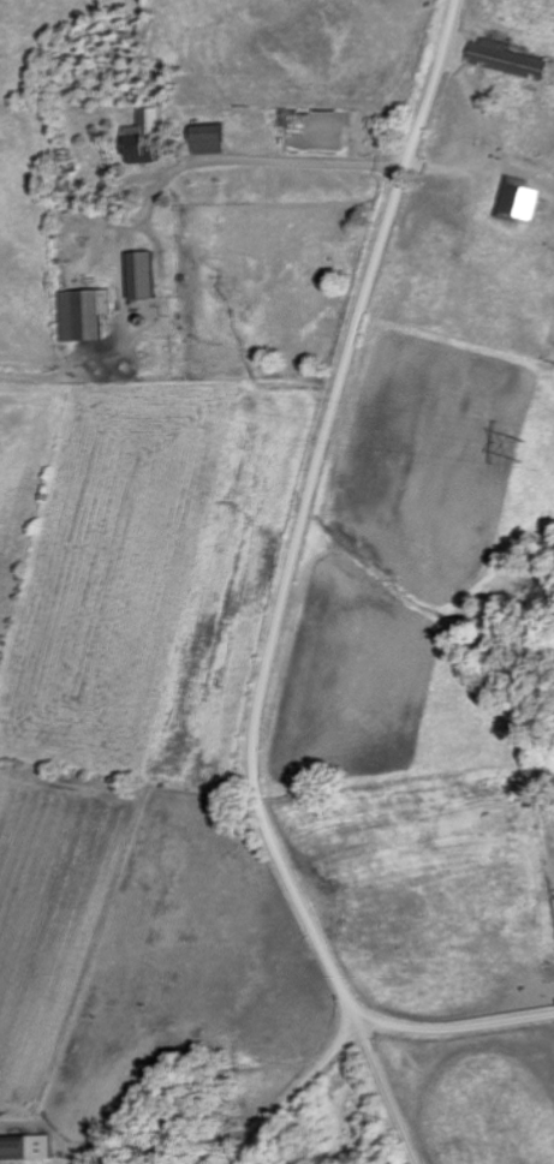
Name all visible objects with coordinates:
building: (512, 59)
building: (148, 137)
building: (213, 138)
building: (523, 199)
building: (145, 274)
building: (89, 314)
power tower: (524, 448)
road: (284, 605)
road: (298, 1088)
building: (28, 1147)

